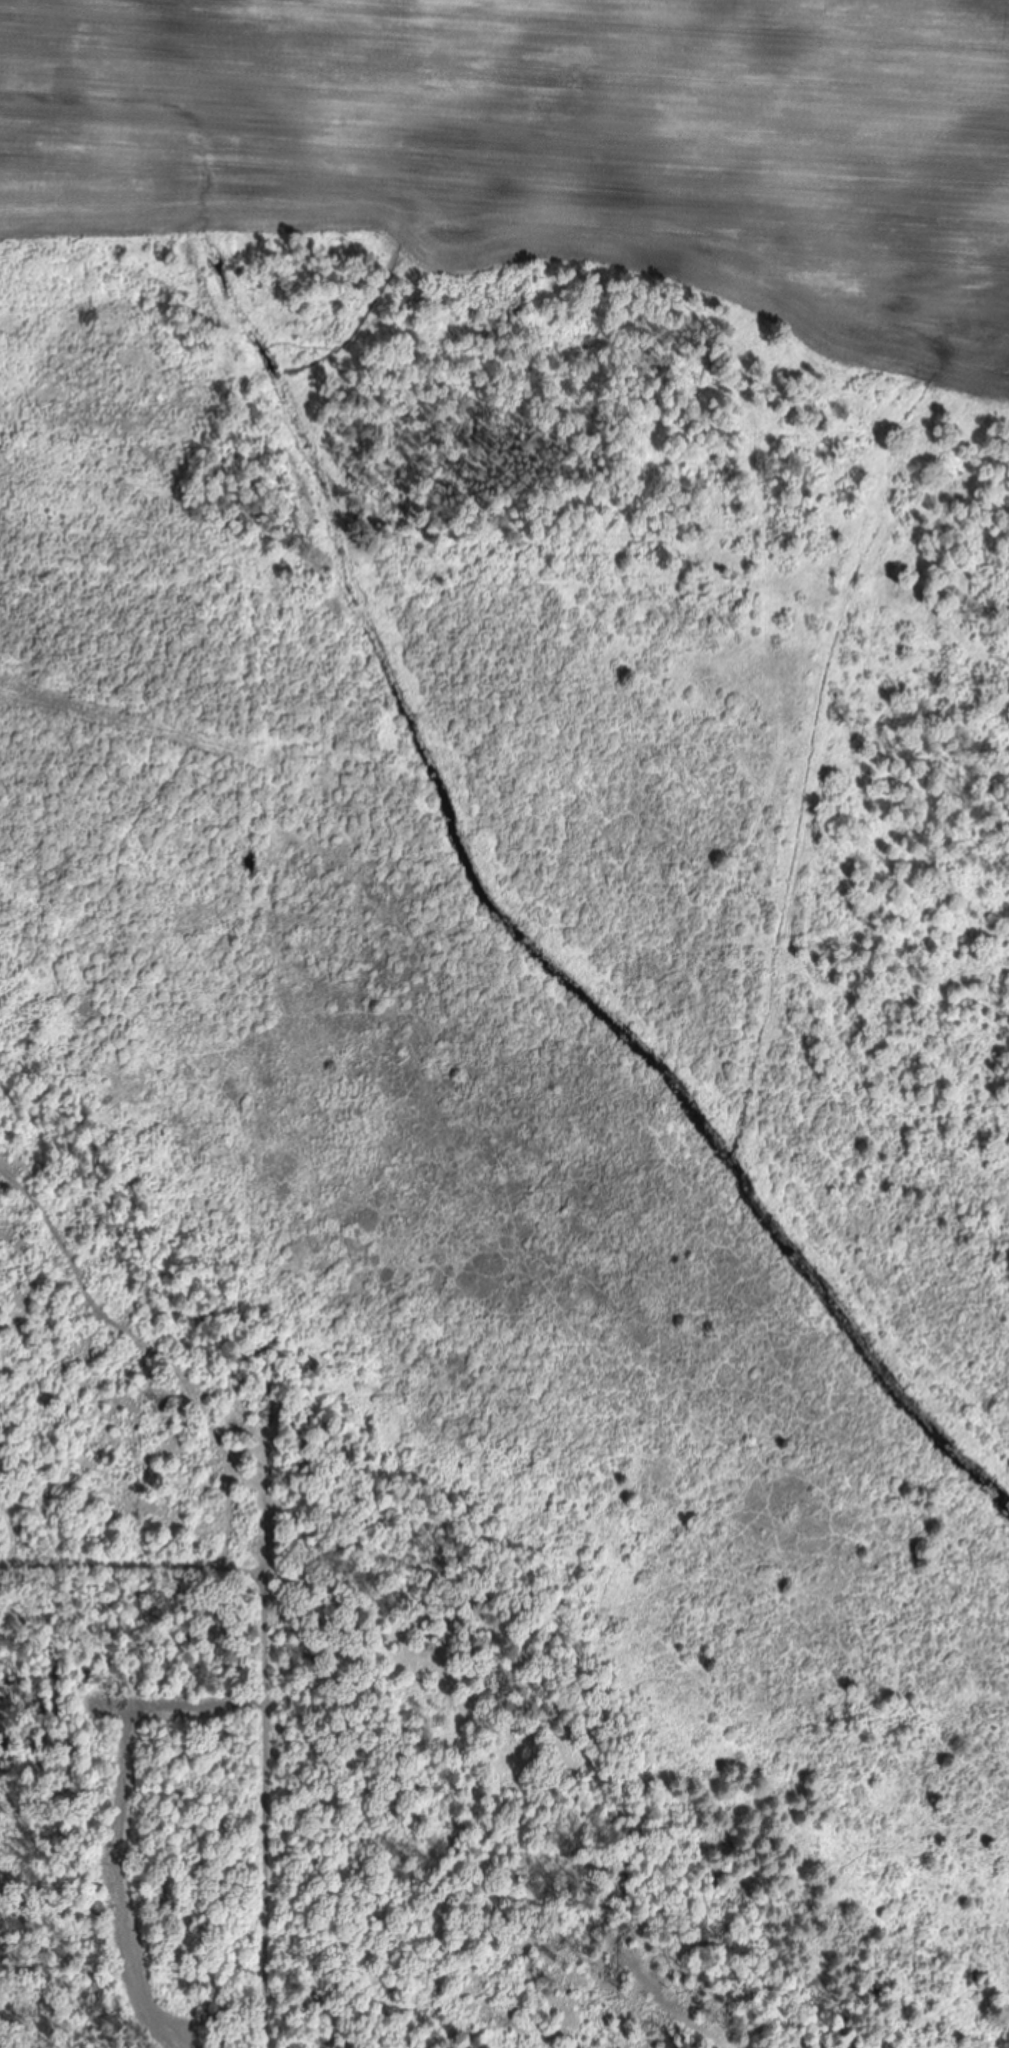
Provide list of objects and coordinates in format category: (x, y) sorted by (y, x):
road: (251, 1693)

